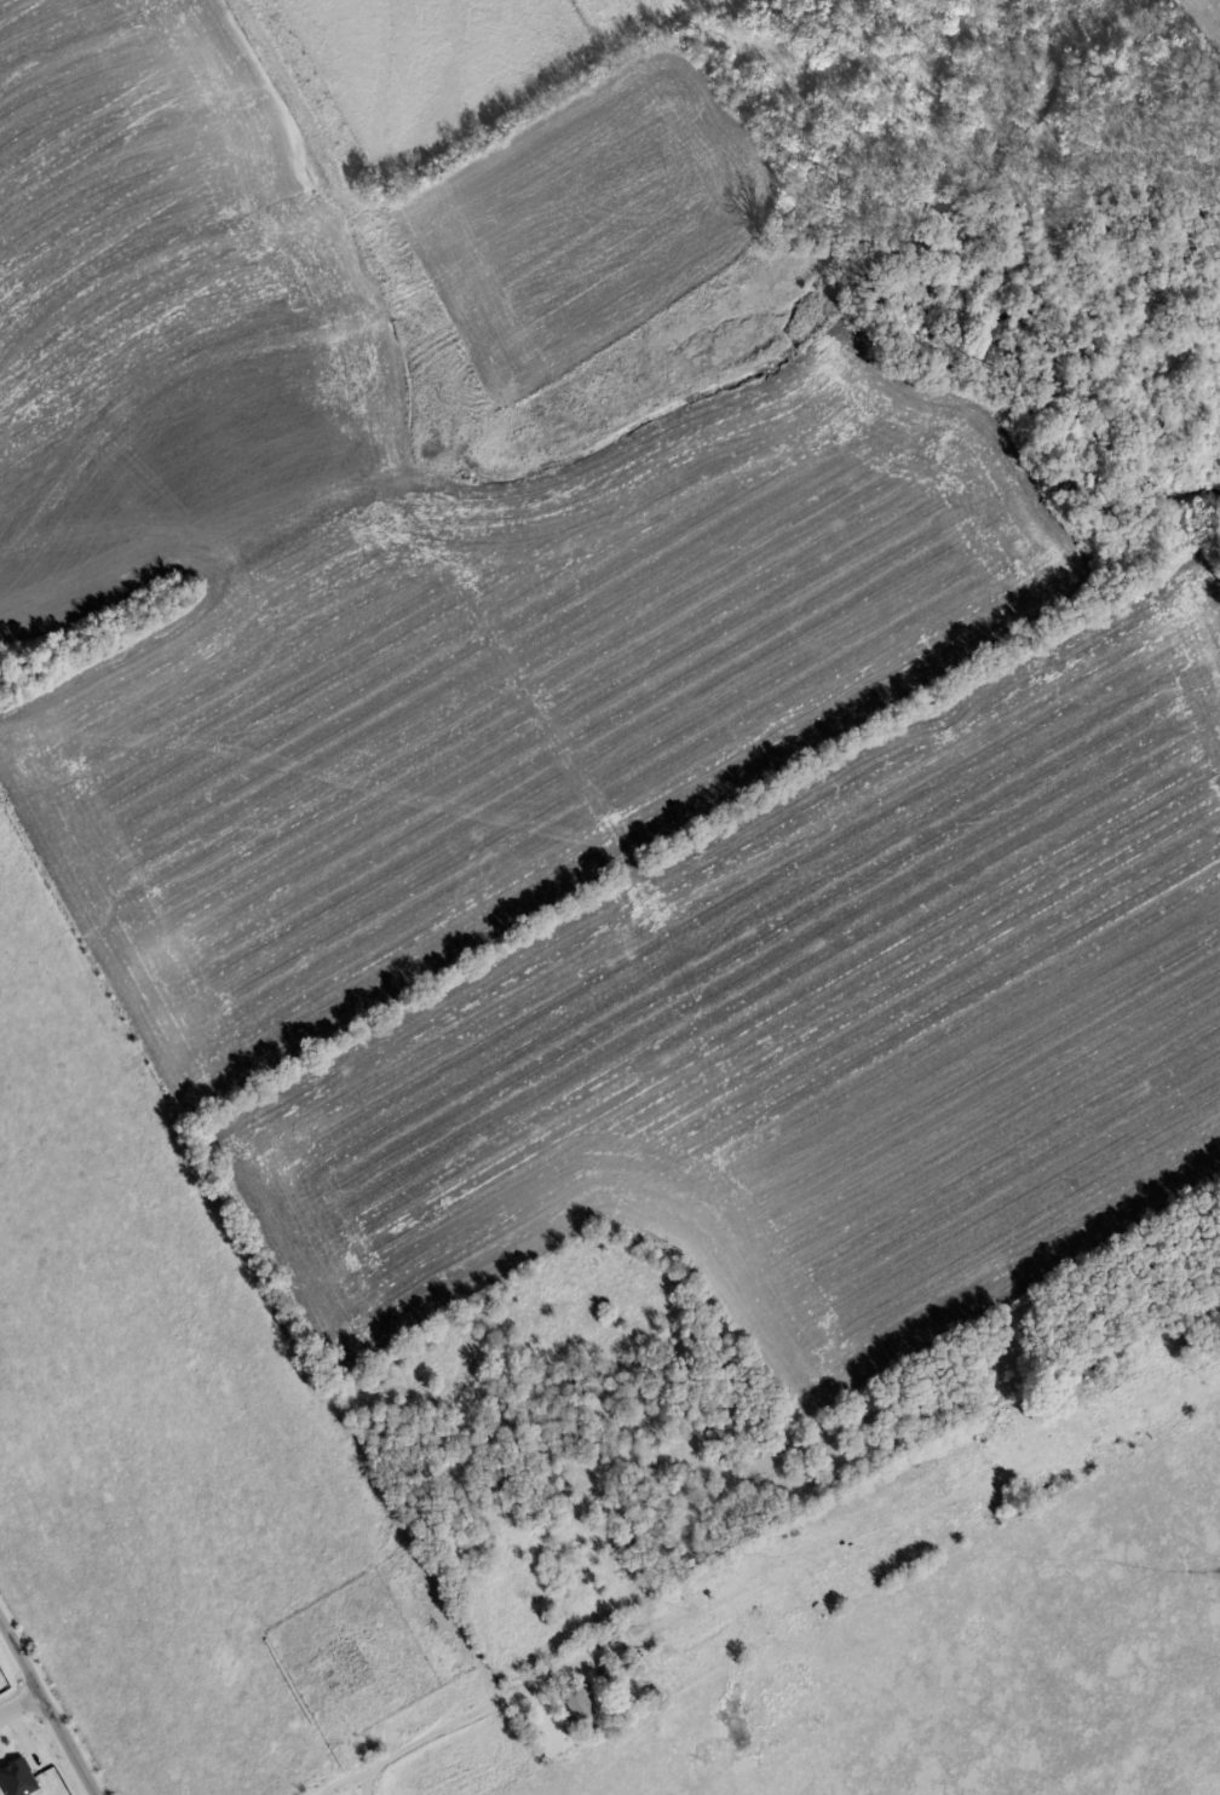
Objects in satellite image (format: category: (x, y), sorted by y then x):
building: (1052, 1394)
road: (660, 1629)
building: (343, 1662)
road: (19, 1703)
building: (574, 1704)
road: (48, 1708)

